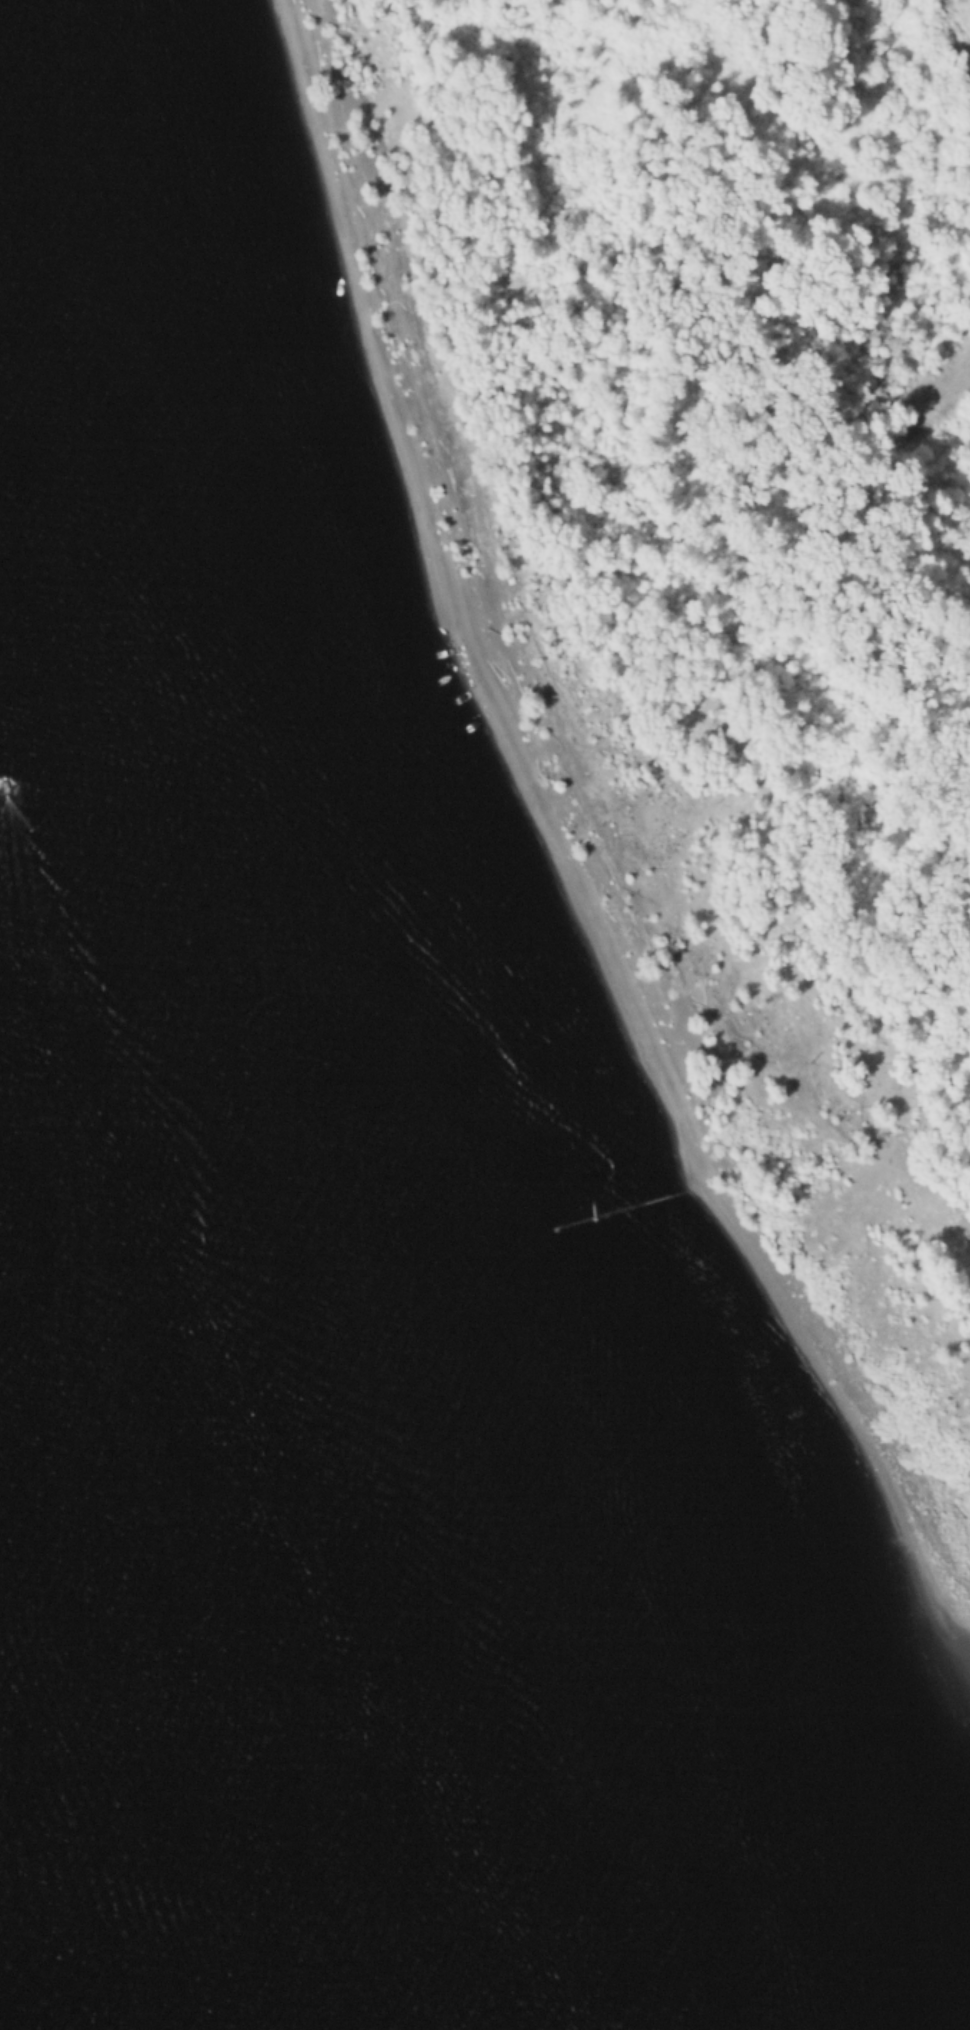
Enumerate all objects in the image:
river: (76, 1818)

